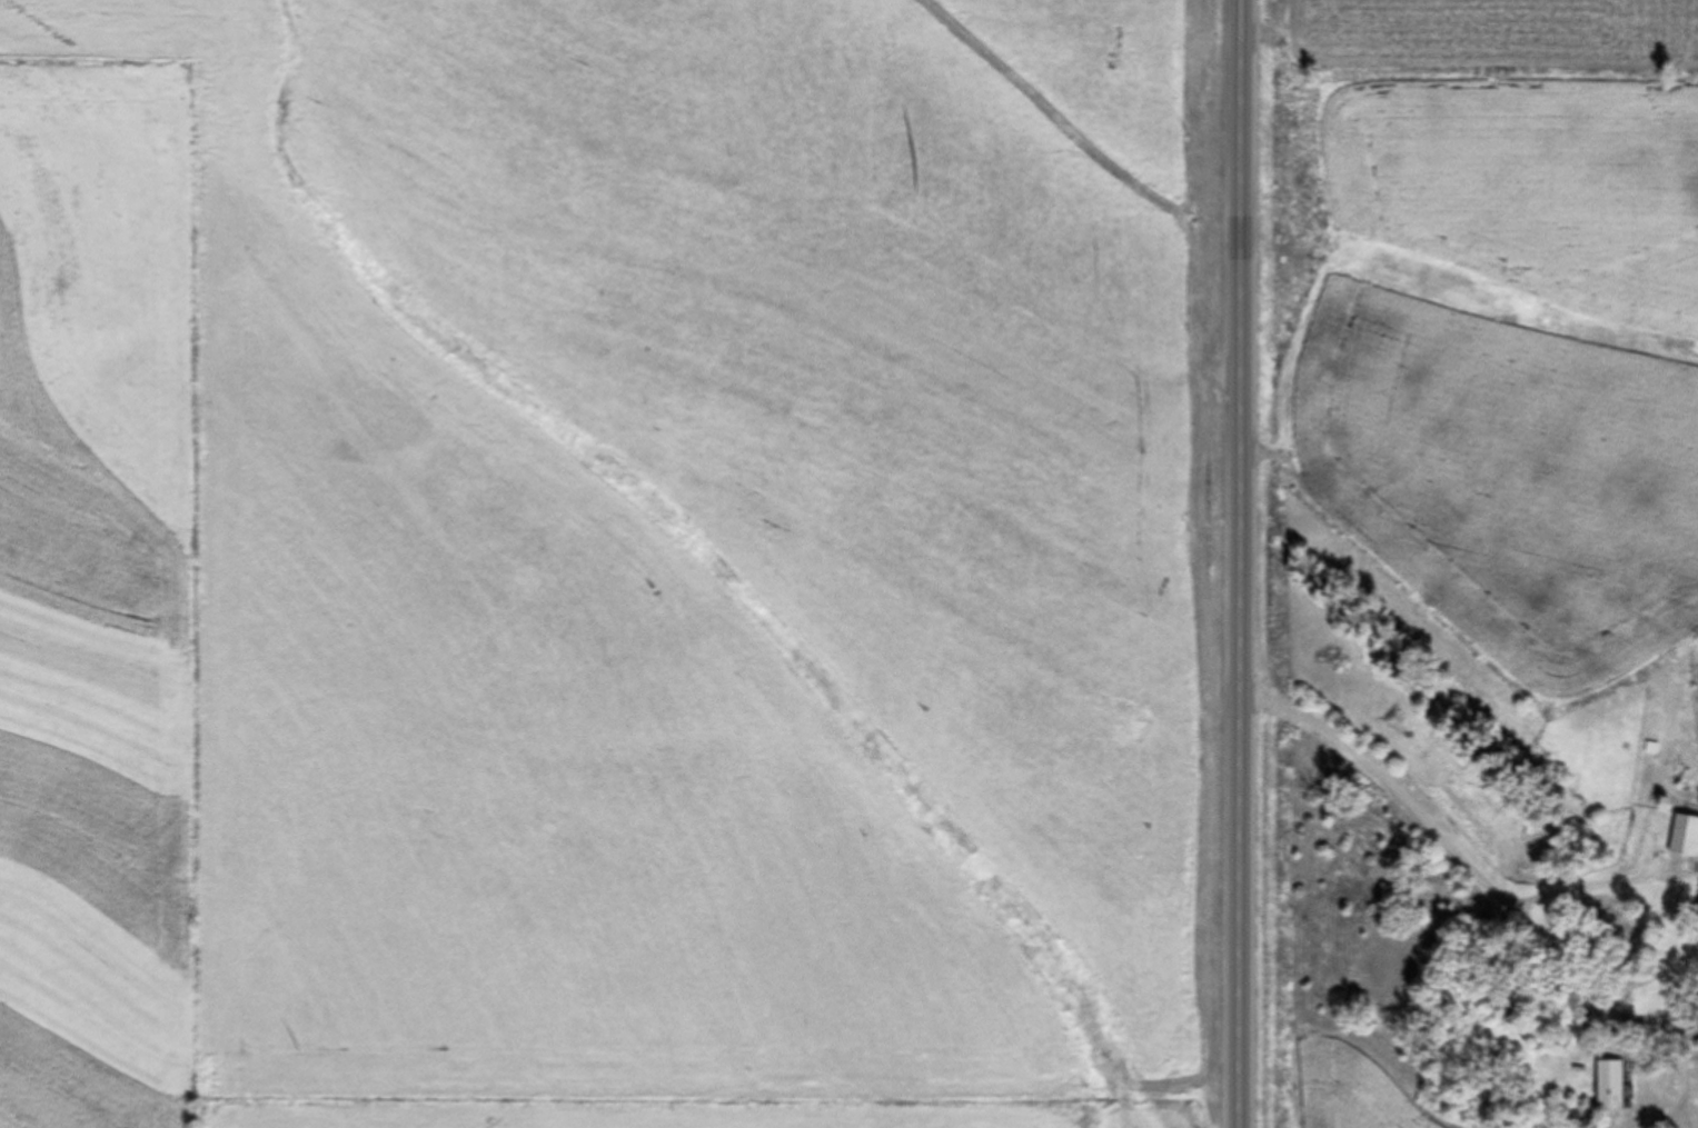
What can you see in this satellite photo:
road: (1242, 563)
building: (1684, 836)
road: (1449, 842)
building: (1606, 1085)

